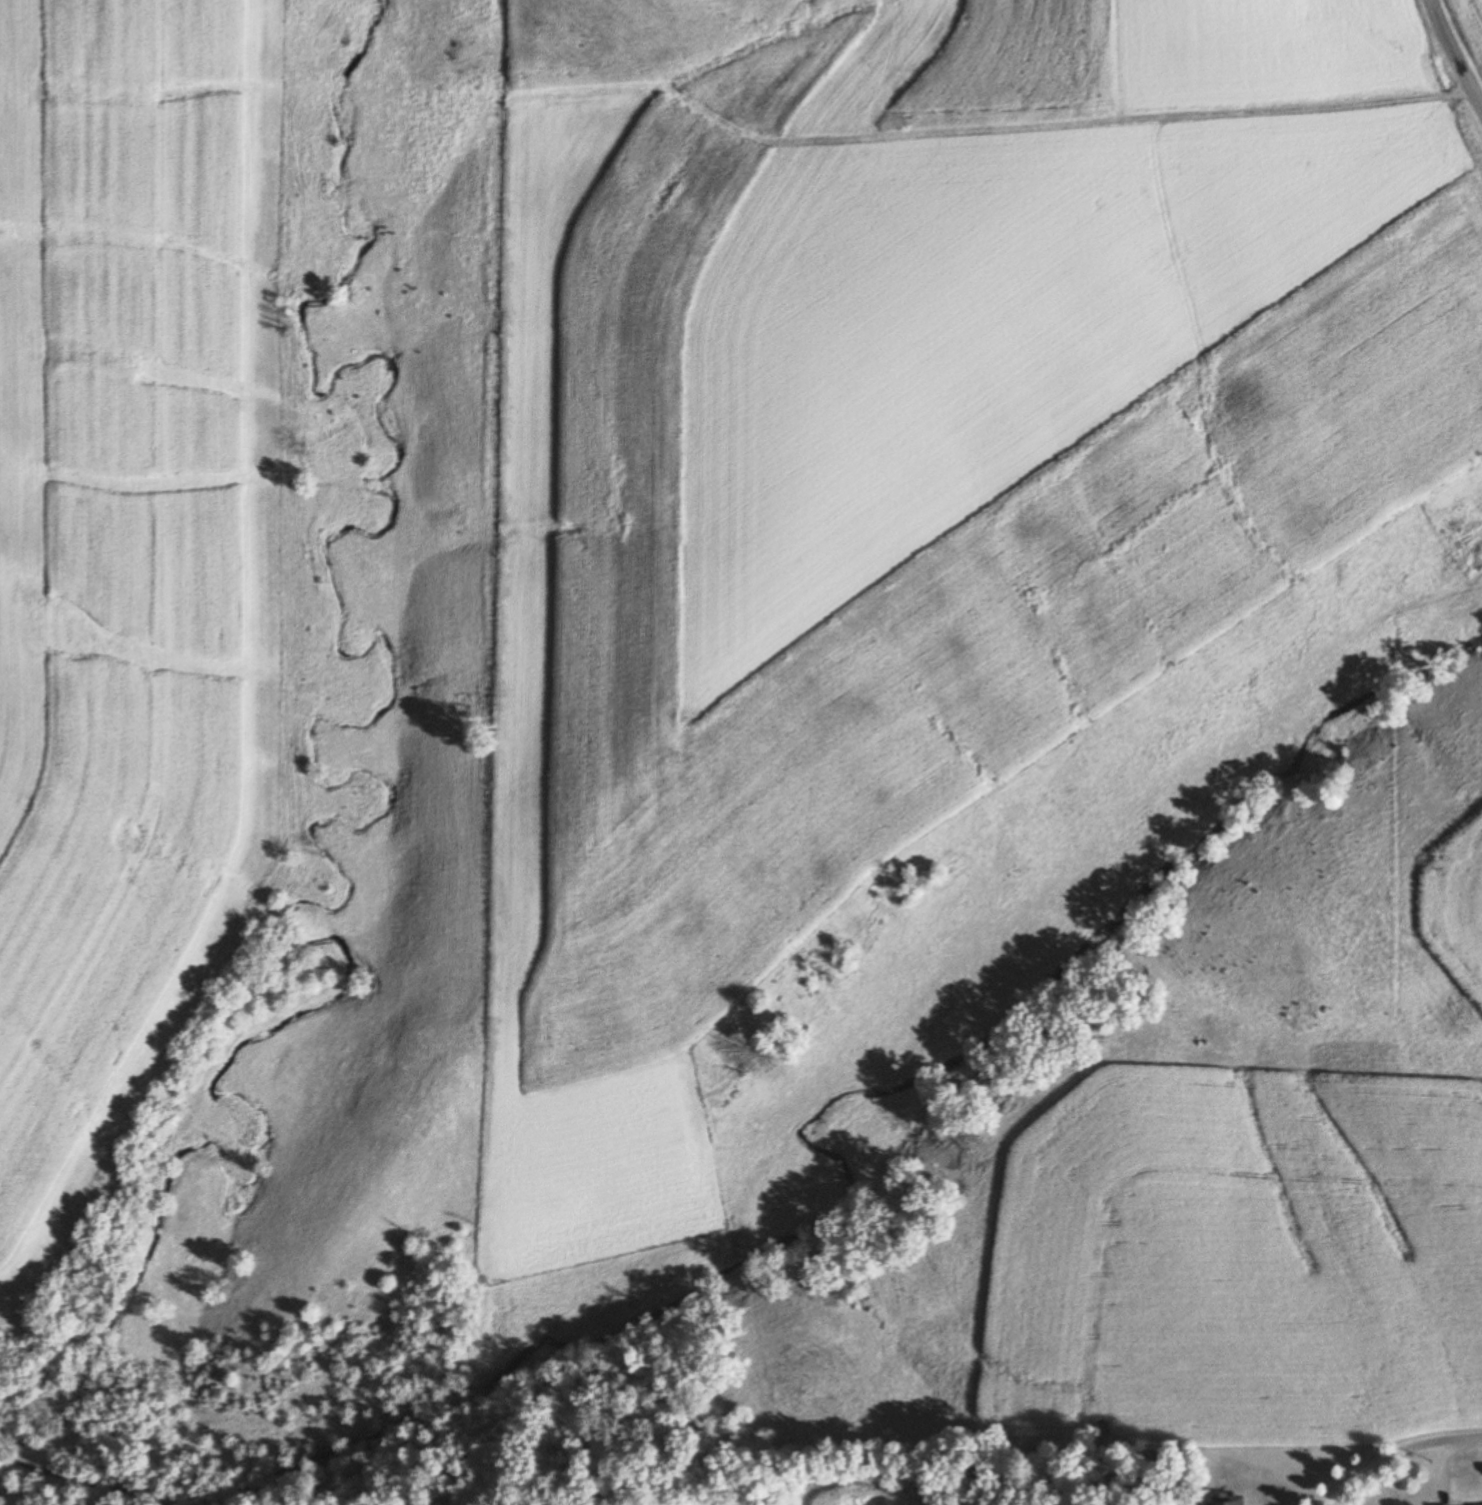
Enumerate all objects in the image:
road: (1454, 56)
road: (1397, 1456)
building: (1234, 1500)

